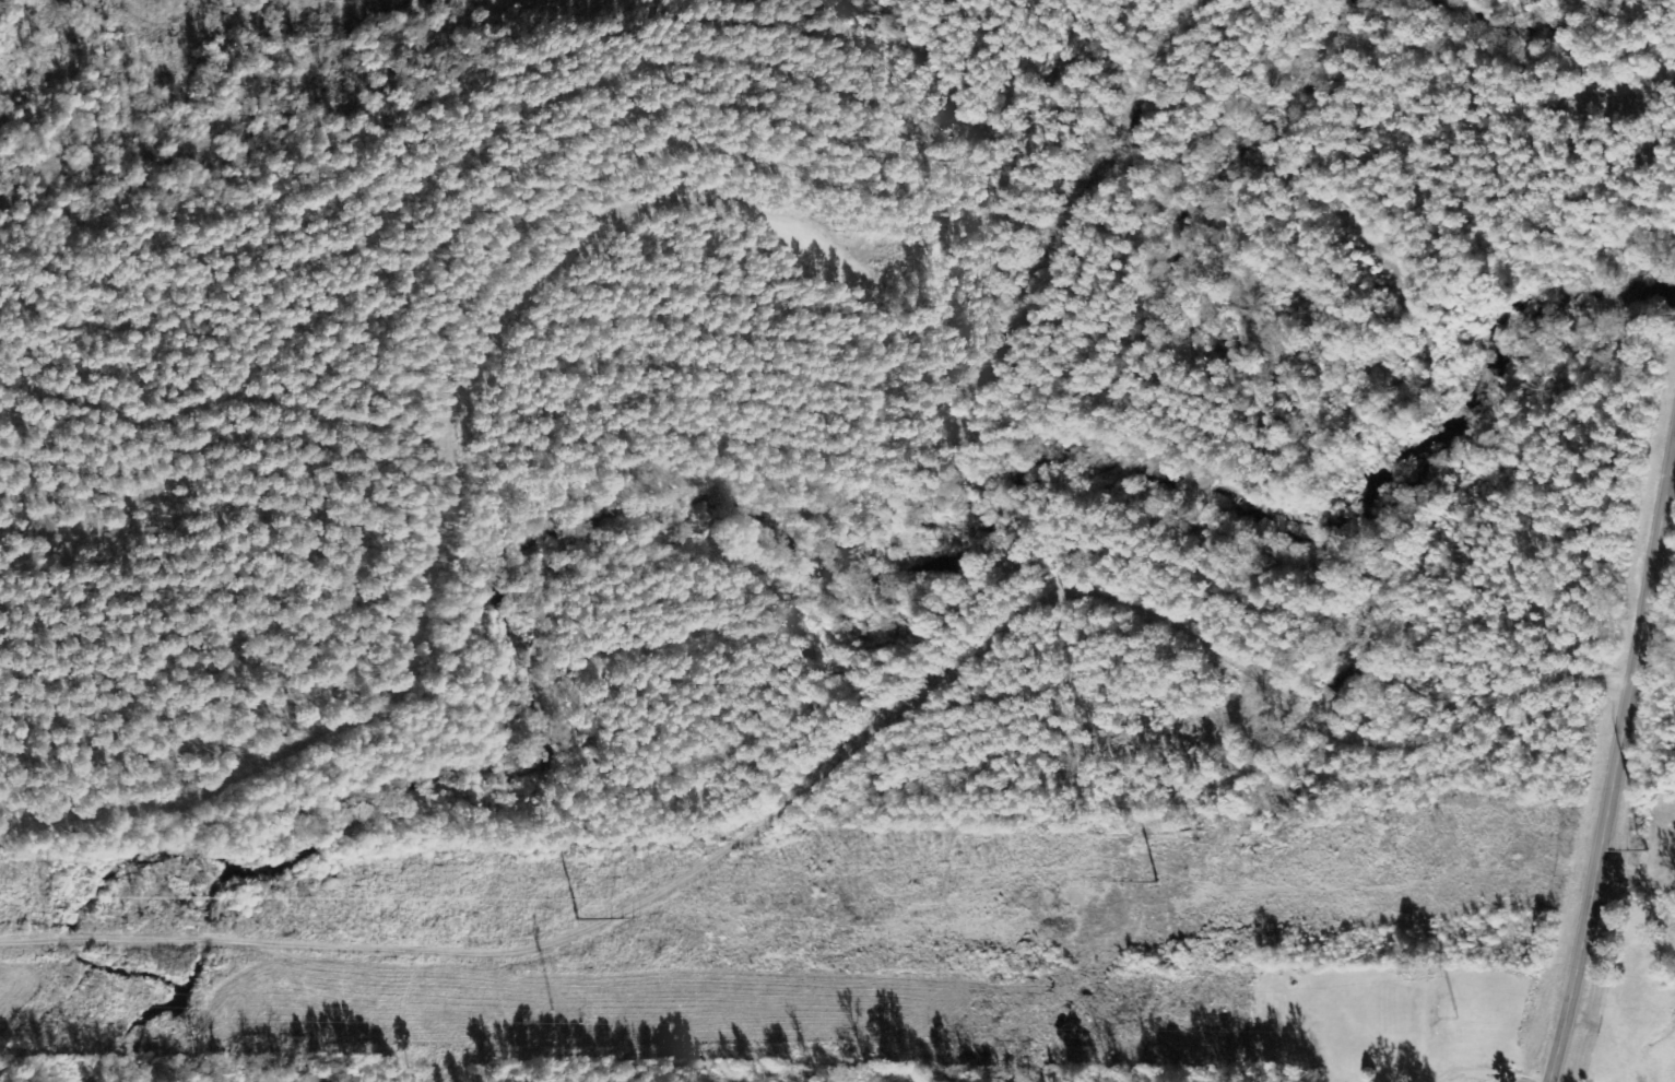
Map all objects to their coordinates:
road: (1616, 767)
power tower: (552, 1007)
power tower: (1455, 1015)

